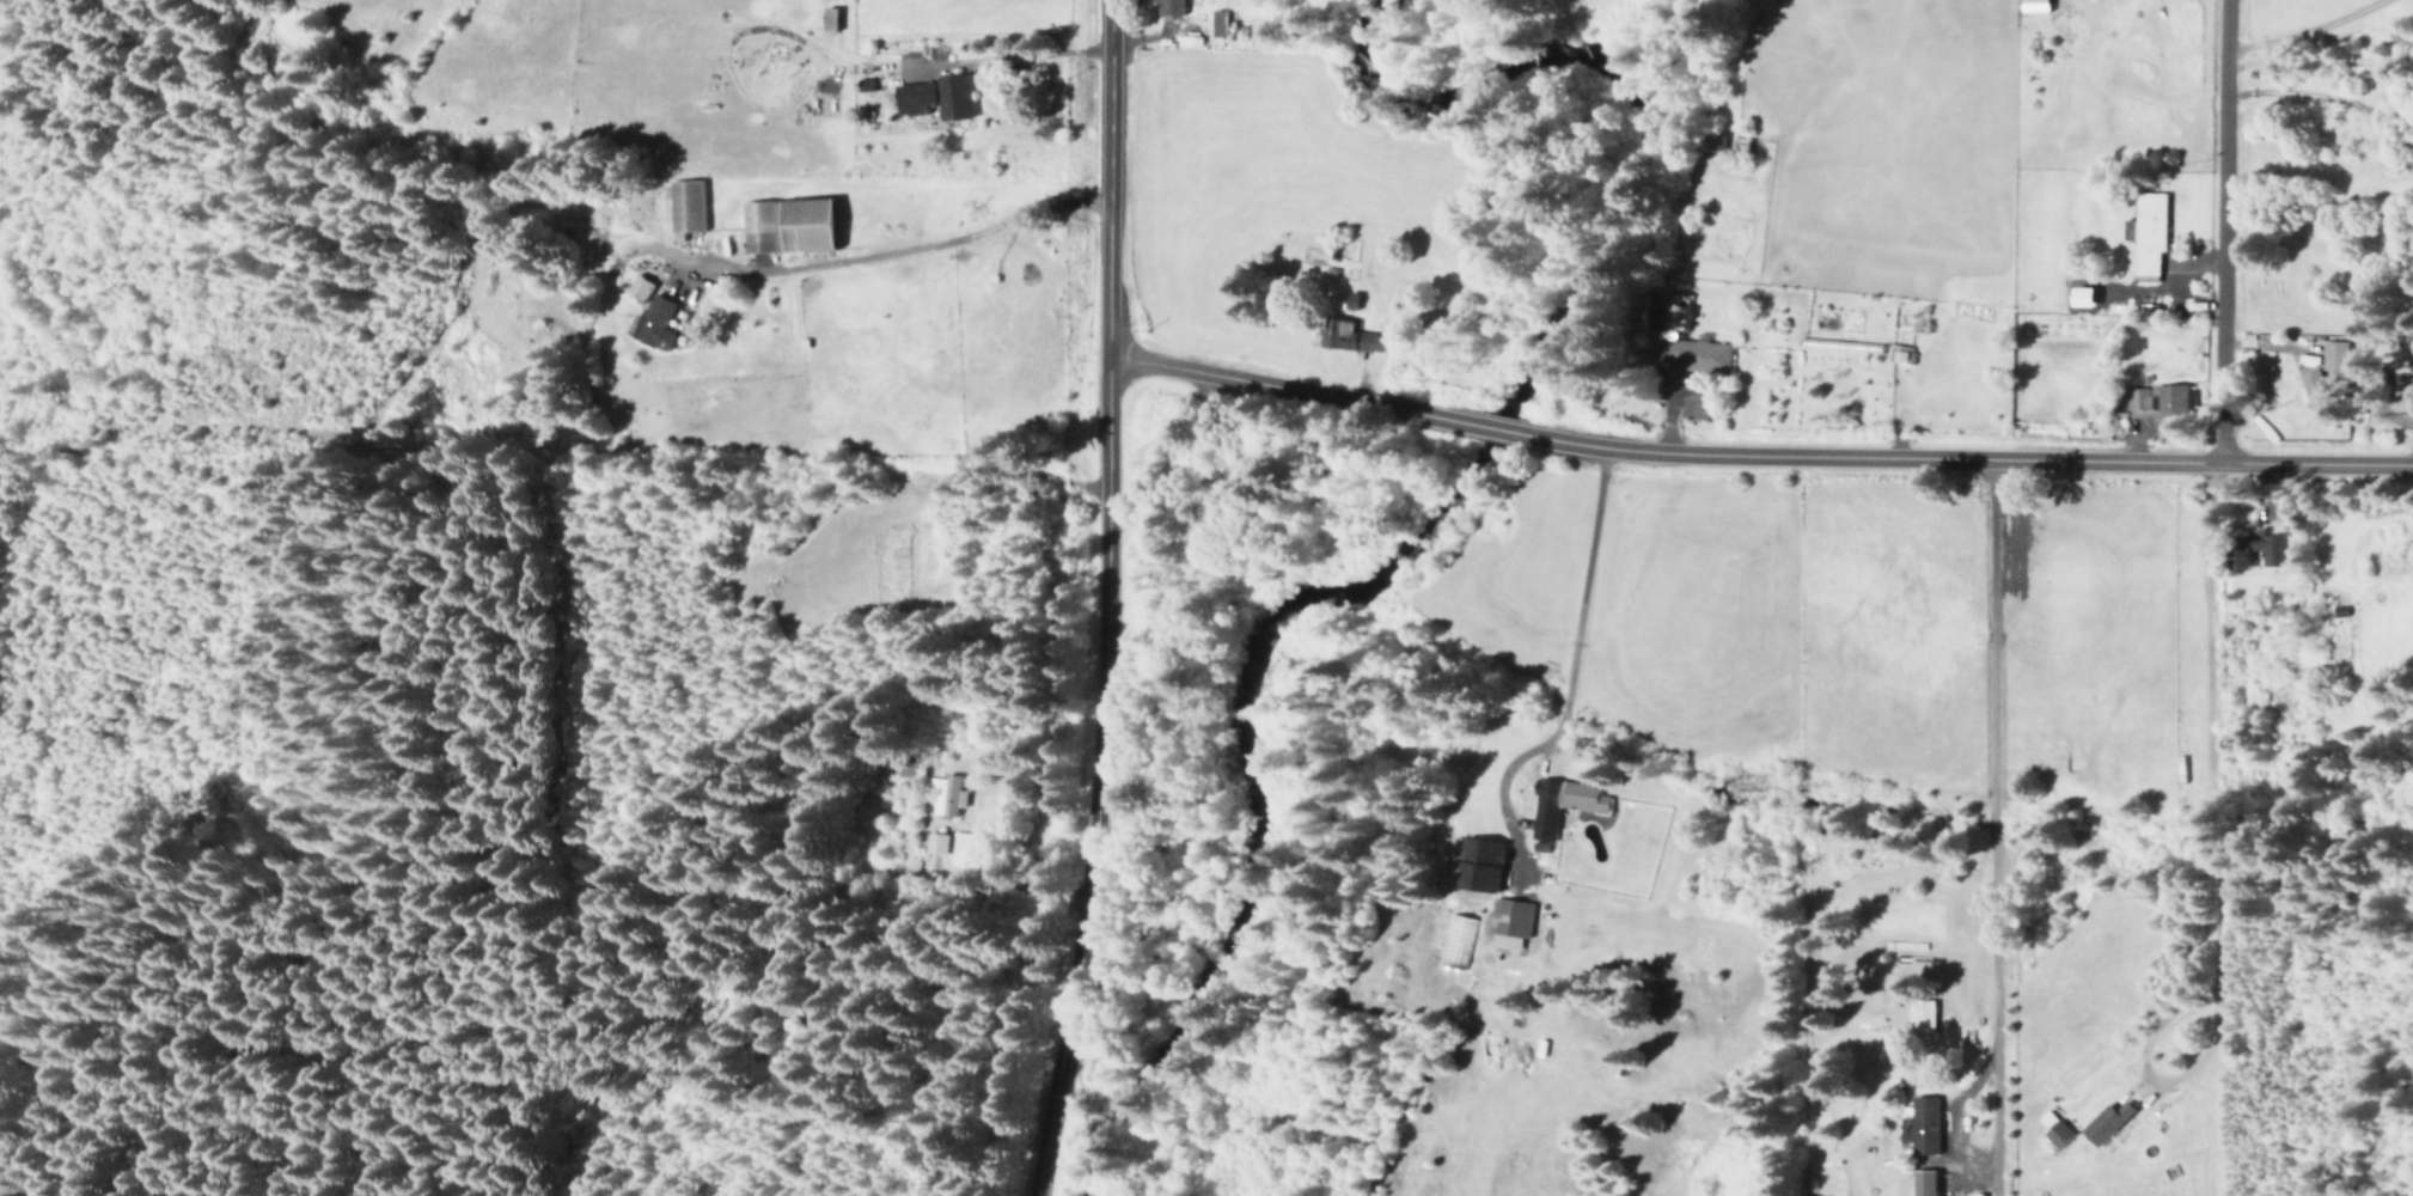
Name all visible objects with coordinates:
building: (2039, 5)
building: (1173, 7)
building: (832, 17)
building: (1220, 23)
road: (2310, 33)
building: (1191, 39)
road: (2317, 62)
building: (2396, 92)
building: (940, 96)
building: (689, 205)
building: (794, 224)
building: (2150, 233)
road: (2224, 233)
road: (872, 269)
building: (642, 285)
building: (660, 322)
building: (1351, 335)
building: (1901, 353)
building: (2334, 354)
building: (1705, 356)
building: (2314, 392)
building: (2175, 399)
road: (1755, 456)
road: (1004, 487)
river: (1407, 519)
building: (2272, 547)
road: (1095, 599)
road: (1574, 649)
road: (1992, 786)
building: (947, 794)
building: (1565, 804)
building: (937, 842)
building: (961, 844)
road: (795, 859)
building: (1484, 864)
road: (2218, 864)
building: (1511, 921)
building: (1925, 1014)
building: (2110, 1122)
building: (1928, 1124)
building: (1926, 1183)

